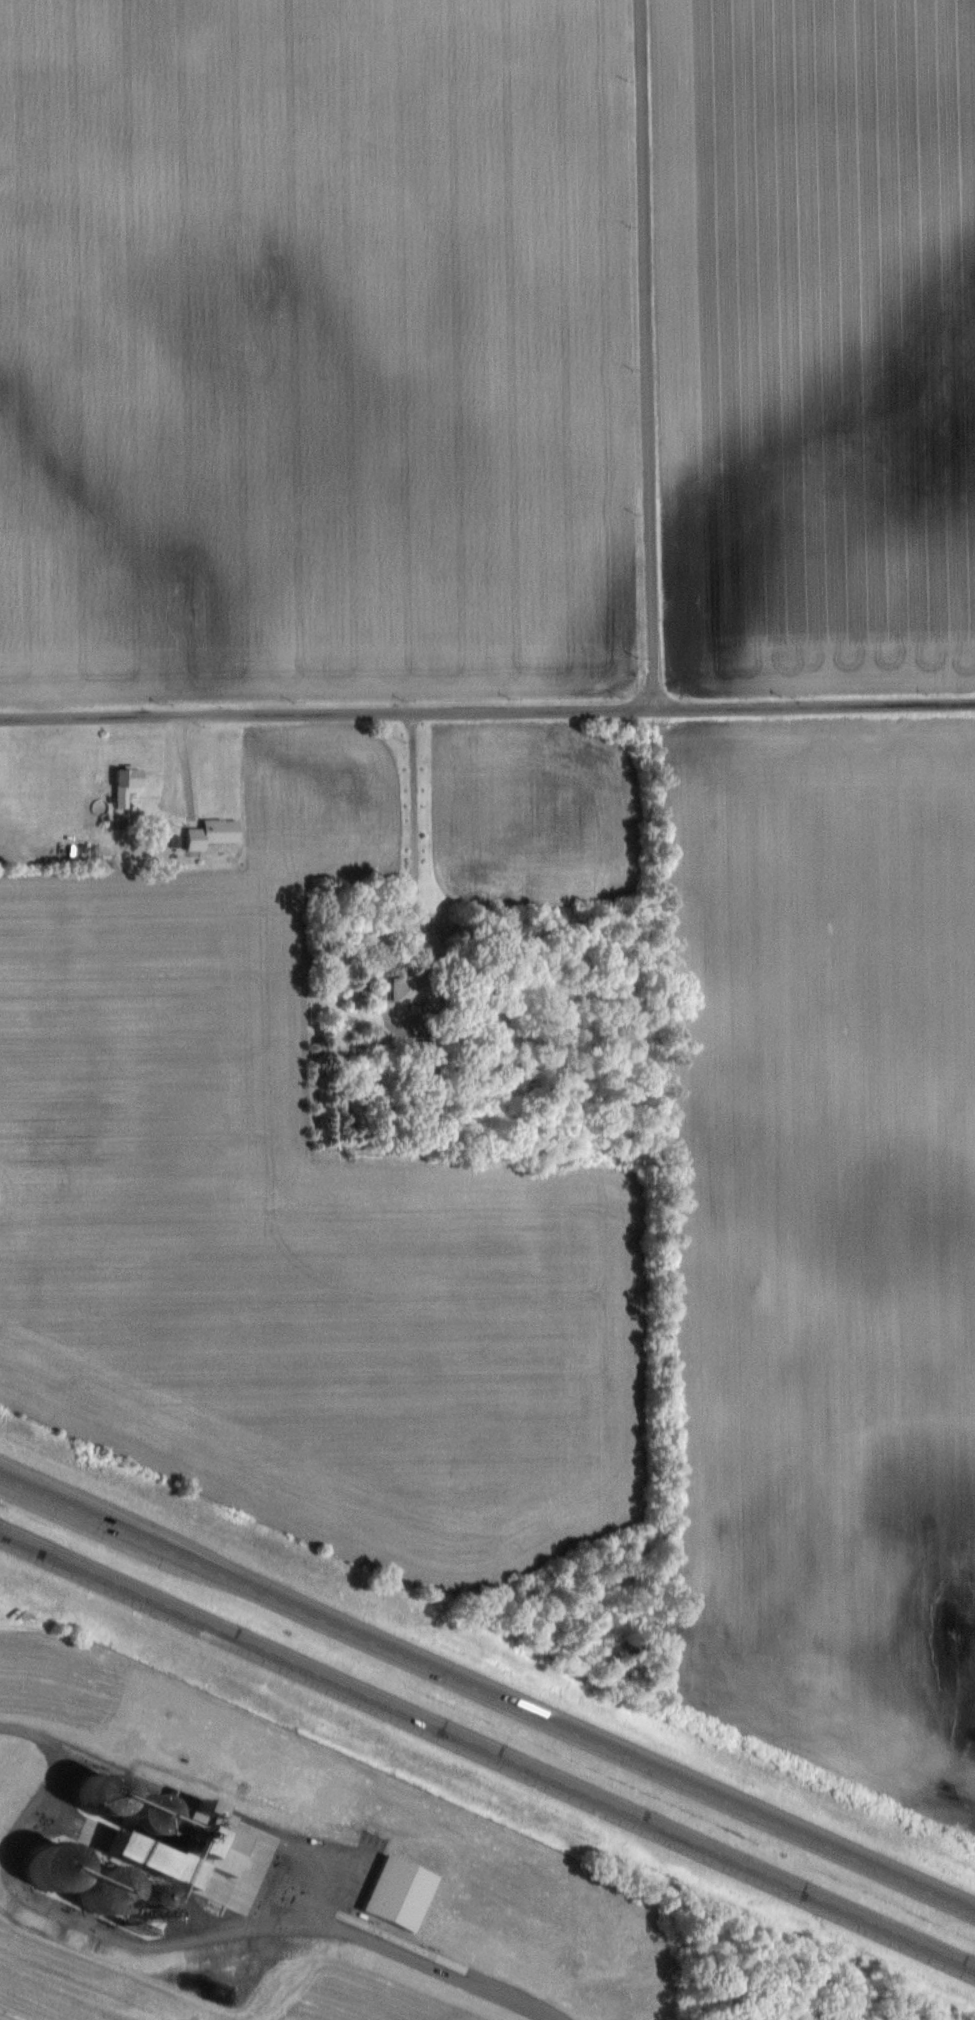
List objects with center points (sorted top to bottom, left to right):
road: (648, 354)
road: (487, 711)
building: (124, 782)
building: (209, 831)
road: (381, 953)
road: (487, 1691)
road: (70, 1744)
road: (487, 1747)
road: (444, 1968)

